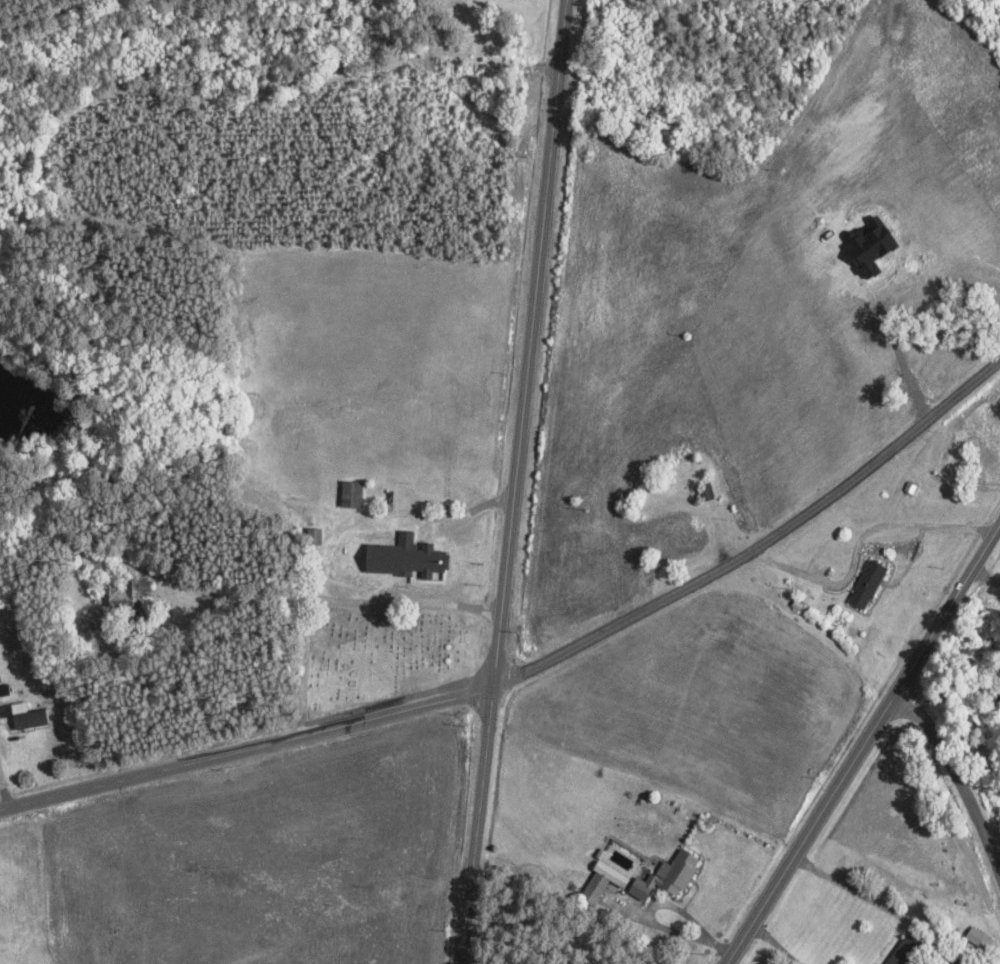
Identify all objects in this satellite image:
road: (516, 481)
building: (709, 491)
building: (355, 494)
building: (319, 536)
road: (754, 536)
building: (409, 559)
building: (872, 585)
building: (127, 595)
building: (33, 719)
road: (866, 740)
road: (246, 757)
road: (961, 761)
building: (667, 876)
building: (593, 893)
building: (907, 950)

